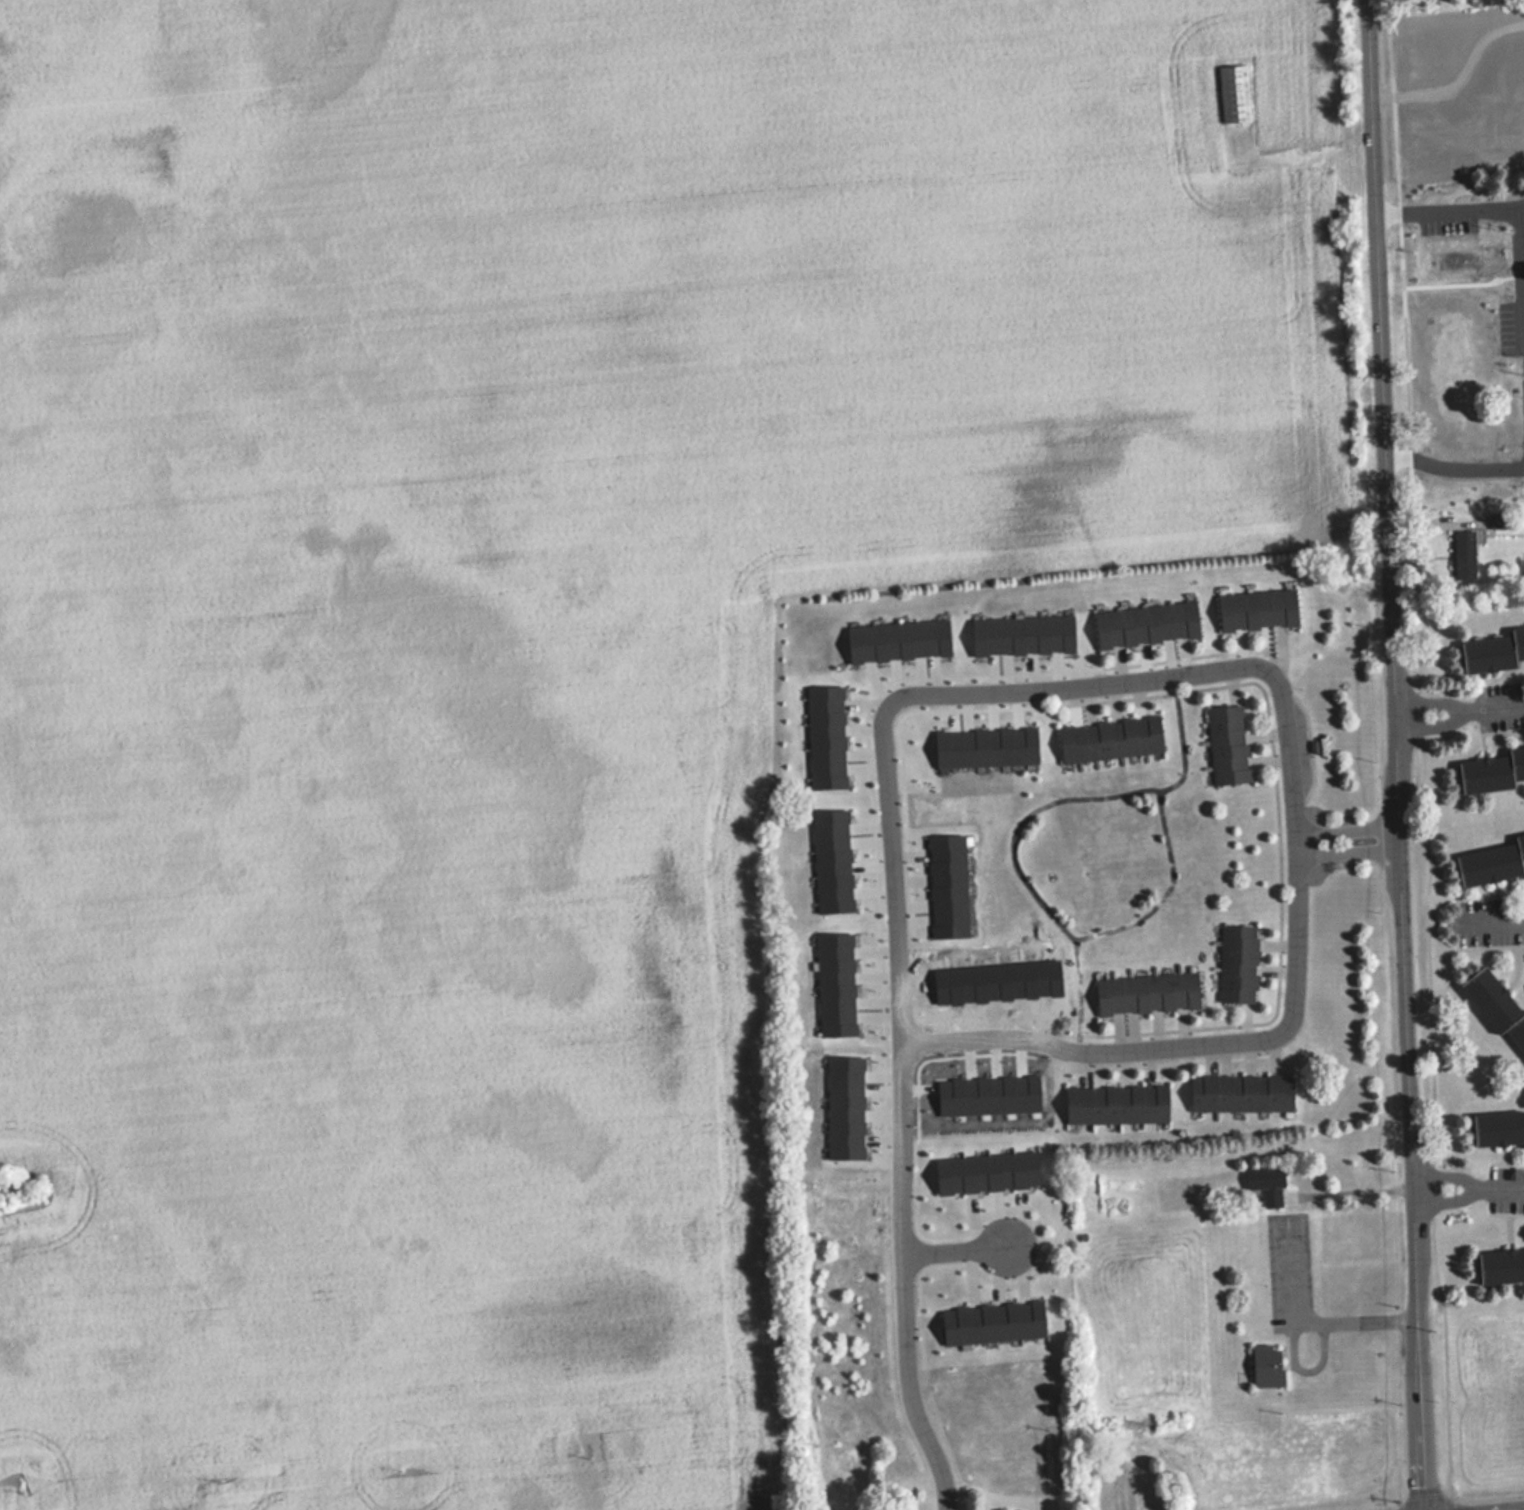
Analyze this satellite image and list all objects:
building: (1233, 93)
road: (1452, 208)
building: (1506, 244)
building: (1479, 282)
road: (1453, 464)
building: (1464, 554)
building: (1257, 608)
building: (1146, 623)
building: (1494, 650)
road: (1439, 701)
road: (1503, 704)
road: (1441, 724)
building: (1110, 737)
building: (1227, 743)
road: (1397, 754)
building: (1492, 769)
road: (886, 823)
road: (1346, 829)
road: (1347, 852)
building: (1492, 861)
road: (1492, 921)
building: (1237, 962)
building: (1147, 992)
building: (1498, 1006)
road: (1182, 1046)
building: (1240, 1092)
building: (1116, 1103)
building: (1498, 1127)
road: (1453, 1175)
building: (1267, 1184)
road: (1508, 1187)
road: (1454, 1200)
road: (955, 1250)
building: (1502, 1266)
building: (1267, 1365)
building: (1106, 1500)

